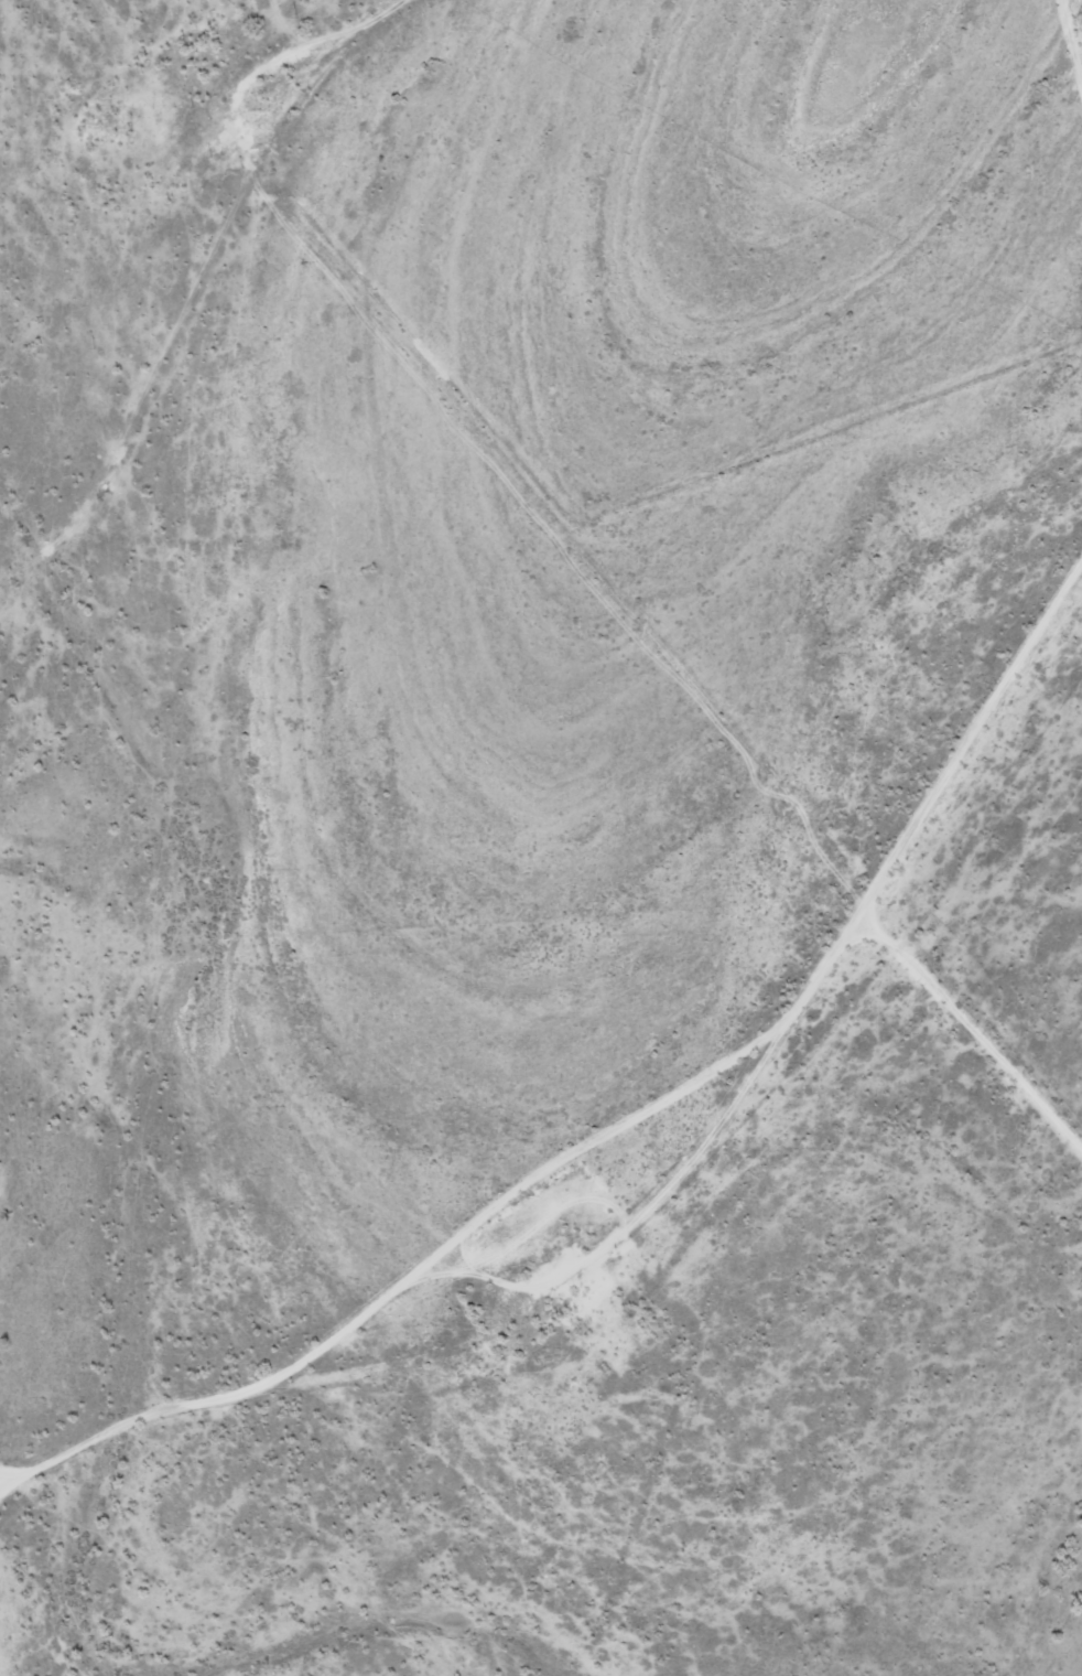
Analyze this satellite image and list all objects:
road: (904, 1174)
road: (678, 1256)

